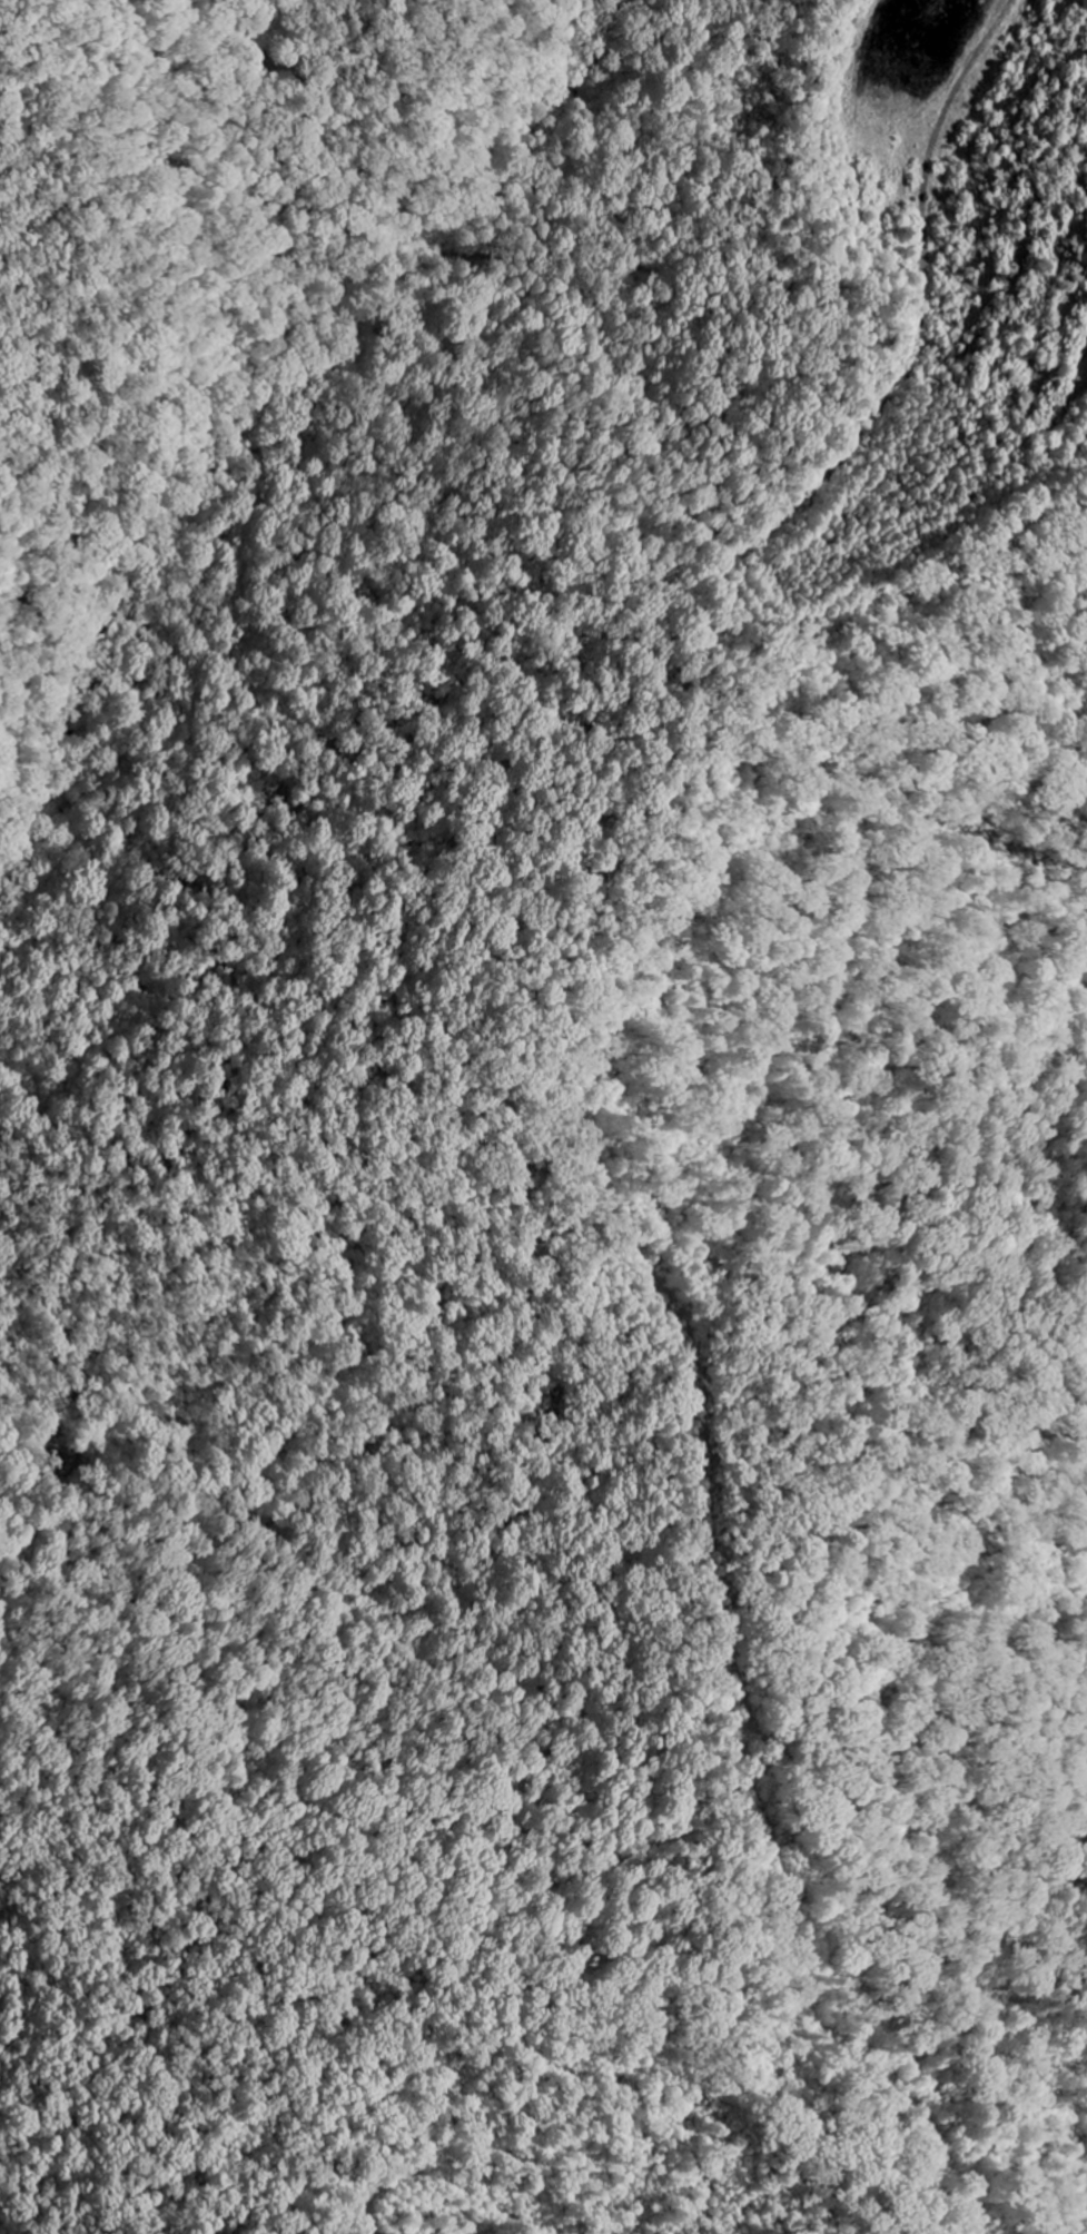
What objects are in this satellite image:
road: (76, 562)
road: (666, 1298)
road: (454, 2198)

